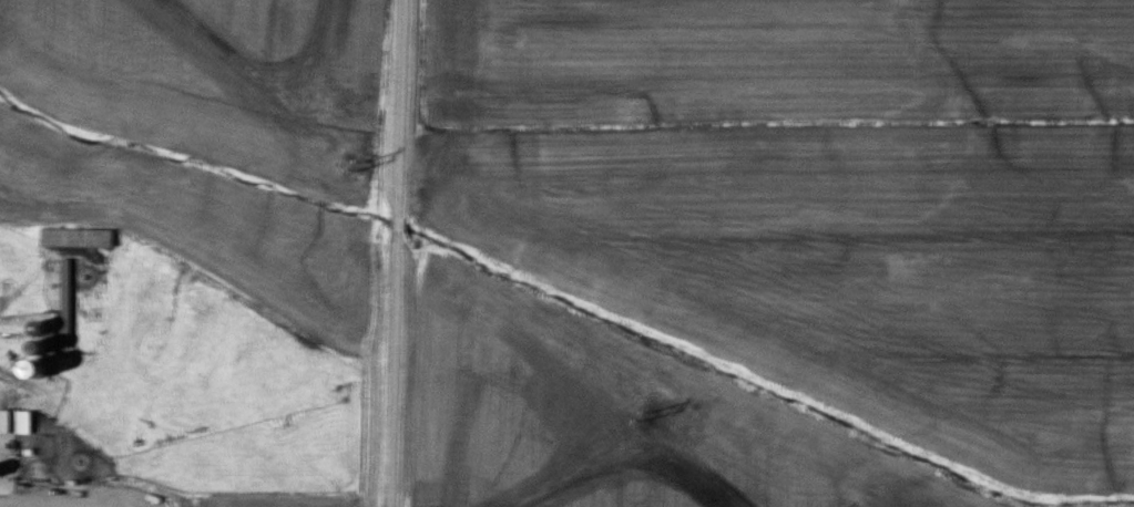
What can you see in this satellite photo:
building: (69, 237)
road: (392, 253)
building: (57, 303)
building: (1, 421)
building: (16, 422)
road: (27, 506)

